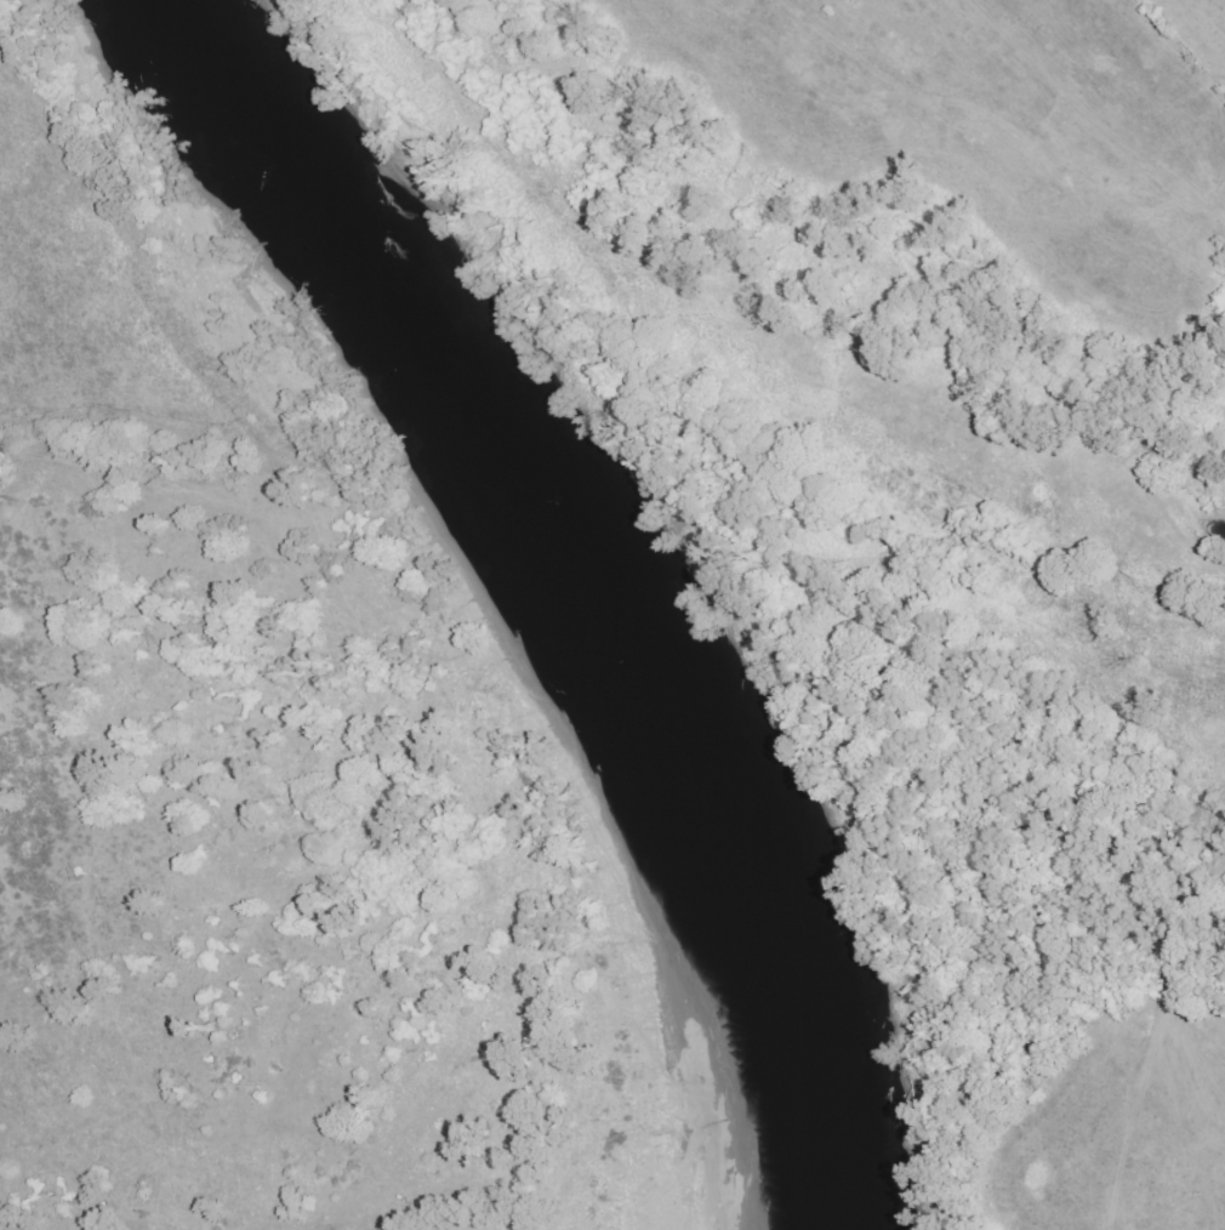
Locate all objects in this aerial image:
river: (451, 342)
river: (779, 955)

